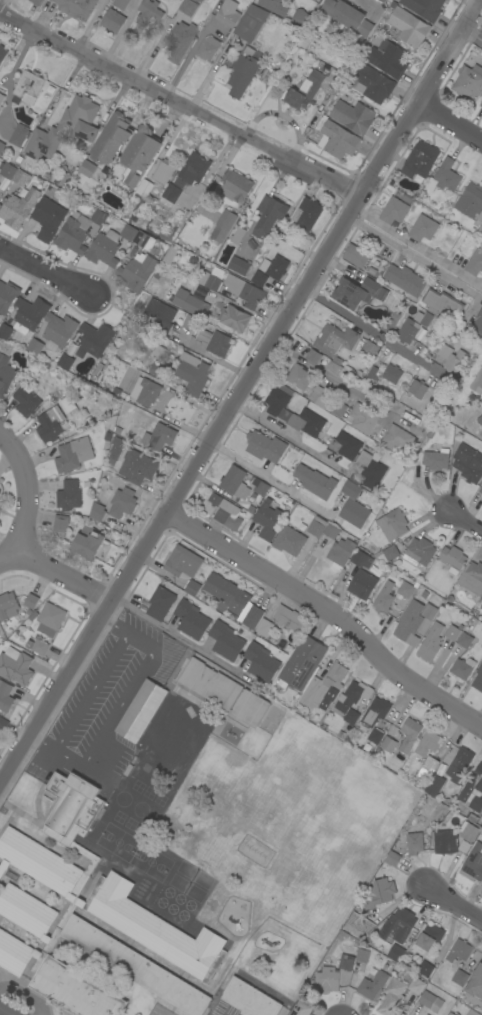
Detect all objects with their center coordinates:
building: (180, 0)
building: (382, 1)
building: (36, 2)
building: (121, 3)
building: (274, 6)
building: (188, 7)
building: (76, 8)
building: (425, 8)
building: (149, 12)
building: (228, 13)
building: (348, 16)
building: (301, 17)
building: (113, 20)
building: (251, 23)
road: (89, 26)
building: (409, 26)
building: (305, 38)
road: (473, 38)
building: (181, 40)
building: (208, 48)
building: (2, 53)
building: (388, 59)
road: (210, 74)
building: (242, 74)
road: (9, 79)
building: (469, 81)
building: (372, 83)
building: (27, 87)
building: (305, 91)
building: (1, 99)
road: (179, 104)
building: (481, 105)
building: (481, 106)
building: (1, 108)
building: (353, 116)
road: (449, 122)
road: (309, 124)
building: (66, 128)
building: (19, 135)
building: (112, 139)
building: (338, 140)
building: (2, 147)
building: (139, 156)
building: (420, 160)
building: (87, 168)
building: (194, 168)
building: (8, 170)
building: (163, 172)
building: (21, 177)
building: (444, 177)
building: (0, 184)
building: (142, 186)
building: (236, 186)
building: (170, 195)
building: (471, 202)
building: (18, 207)
building: (394, 210)
building: (309, 213)
building: (269, 215)
building: (99, 217)
building: (48, 218)
building: (223, 225)
building: (423, 228)
building: (129, 232)
building: (74, 235)
building: (238, 236)
building: (144, 240)
road: (416, 248)
building: (104, 249)
building: (356, 256)
road: (414, 258)
building: (475, 263)
building: (239, 266)
building: (277, 267)
road: (42, 270)
building: (137, 272)
building: (259, 279)
building: (405, 279)
building: (209, 281)
building: (245, 291)
building: (355, 292)
building: (7, 296)
building: (190, 303)
building: (443, 304)
building: (30, 314)
building: (158, 316)
building: (394, 316)
building: (468, 317)
building: (234, 318)
building: (423, 318)
building: (191, 323)
building: (477, 327)
road: (371, 328)
building: (5, 331)
building: (59, 331)
building: (408, 331)
building: (419, 337)
building: (429, 337)
building: (335, 339)
building: (94, 340)
building: (215, 342)
building: (35, 347)
building: (369, 349)
building: (159, 352)
building: (452, 358)
building: (66, 359)
building: (333, 368)
building: (6, 370)
building: (156, 370)
building: (193, 374)
building: (392, 374)
road: (231, 376)
building: (372, 376)
building: (300, 377)
road: (334, 381)
building: (477, 383)
road: (241, 389)
building: (417, 389)
building: (145, 391)
building: (321, 397)
building: (26, 402)
building: (279, 402)
building: (68, 404)
building: (341, 405)
building: (126, 417)
building: (363, 418)
road: (169, 420)
building: (480, 420)
building: (308, 423)
building: (52, 424)
building: (159, 437)
road: (292, 438)
building: (396, 439)
building: (345, 445)
building: (265, 447)
building: (116, 449)
building: (74, 455)
building: (436, 459)
building: (468, 463)
building: (138, 467)
building: (371, 469)
road: (270, 479)
building: (235, 482)
building: (315, 482)
building: (259, 486)
road: (25, 490)
building: (480, 490)
building: (69, 496)
building: (481, 498)
building: (122, 504)
building: (353, 506)
building: (97, 511)
building: (226, 512)
building: (267, 519)
road: (465, 521)
building: (61, 523)
building: (393, 524)
building: (316, 526)
building: (331, 530)
building: (289, 540)
building: (88, 542)
building: (340, 552)
building: (419, 552)
building: (387, 554)
building: (453, 557)
building: (361, 559)
building: (183, 563)
road: (55, 572)
building: (471, 578)
building: (362, 585)
building: (192, 588)
building: (404, 592)
building: (227, 594)
building: (384, 598)
building: (31, 601)
building: (161, 603)
building: (8, 606)
building: (480, 606)
road: (330, 612)
building: (429, 612)
building: (253, 617)
building: (50, 619)
building: (290, 619)
building: (191, 620)
road: (106, 622)
building: (409, 623)
building: (264, 627)
building: (453, 632)
road: (179, 635)
building: (465, 640)
building: (225, 641)
building: (431, 643)
building: (37, 646)
building: (286, 647)
building: (261, 662)
building: (302, 663)
building: (15, 666)
building: (462, 669)
building: (478, 680)
building: (210, 684)
building: (325, 688)
road: (90, 692)
building: (355, 693)
building: (5, 696)
building: (250, 707)
road: (121, 708)
building: (141, 711)
building: (374, 714)
building: (351, 717)
building: (3, 724)
building: (378, 732)
building: (409, 734)
road: (32, 738)
building: (428, 743)
building: (388, 744)
building: (459, 765)
building: (427, 768)
building: (434, 786)
building: (473, 789)
park: (287, 822)
building: (454, 840)
building: (407, 849)
building: (473, 863)
building: (102, 881)
building: (379, 893)
road: (453, 901)
building: (360, 924)
building: (397, 926)
building: (430, 935)
building: (27, 945)
building: (459, 952)
building: (396, 953)
building: (362, 955)
building: (426, 969)
building: (333, 974)
building: (460, 977)
building: (476, 981)
building: (373, 985)
building: (416, 986)
building: (392, 997)
building: (249, 999)
building: (431, 1002)
building: (302, 1009)
road: (5, 1011)
road: (282, 1013)
building: (472, 1013)
building: (421, 1014)
building: (427, 1014)
building: (451, 1014)

